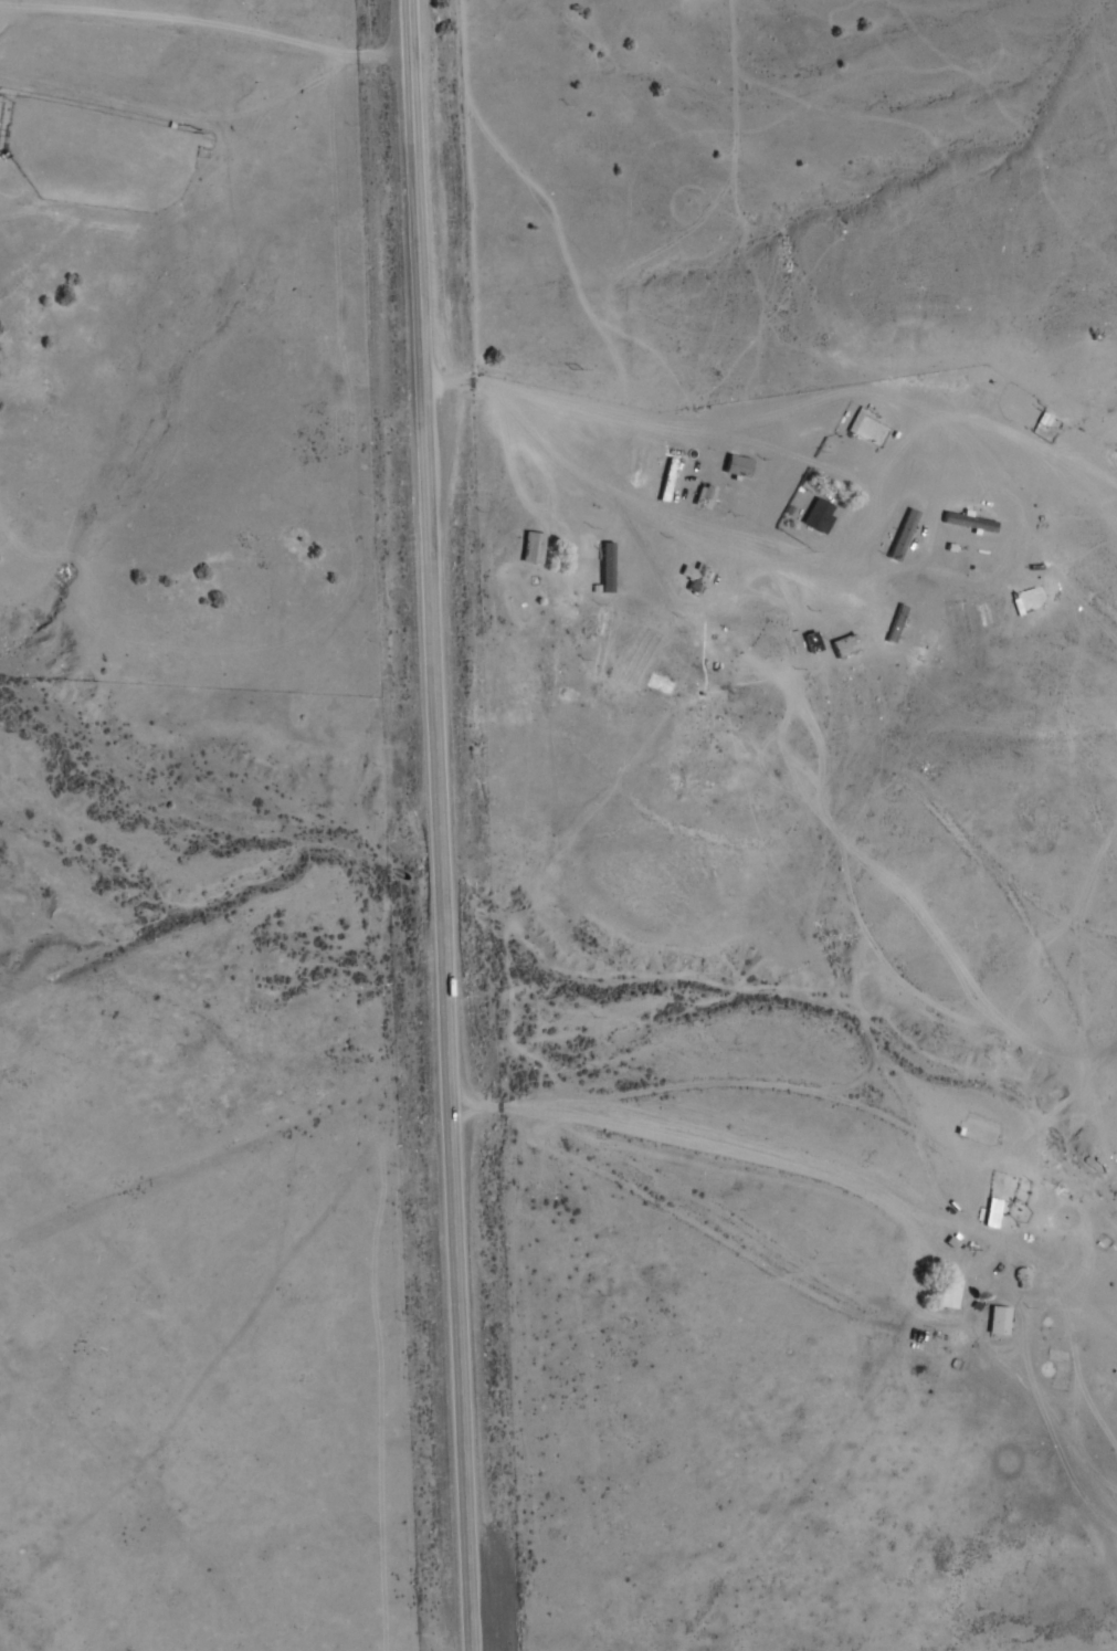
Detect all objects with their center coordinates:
road: (206, 25)
building: (1, 111)
road: (811, 418)
building: (739, 465)
building: (705, 496)
building: (820, 515)
building: (970, 522)
building: (534, 547)
building: (619, 577)
building: (700, 578)
building: (897, 623)
building: (846, 645)
building: (662, 683)
road: (442, 824)
building: (950, 1292)
building: (1050, 1369)

